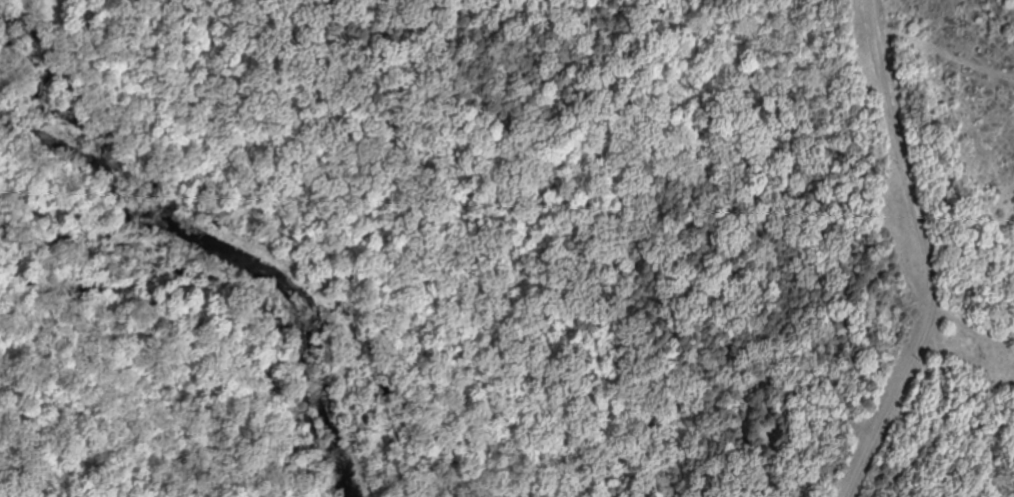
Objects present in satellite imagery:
road: (972, 224)
road: (930, 254)

